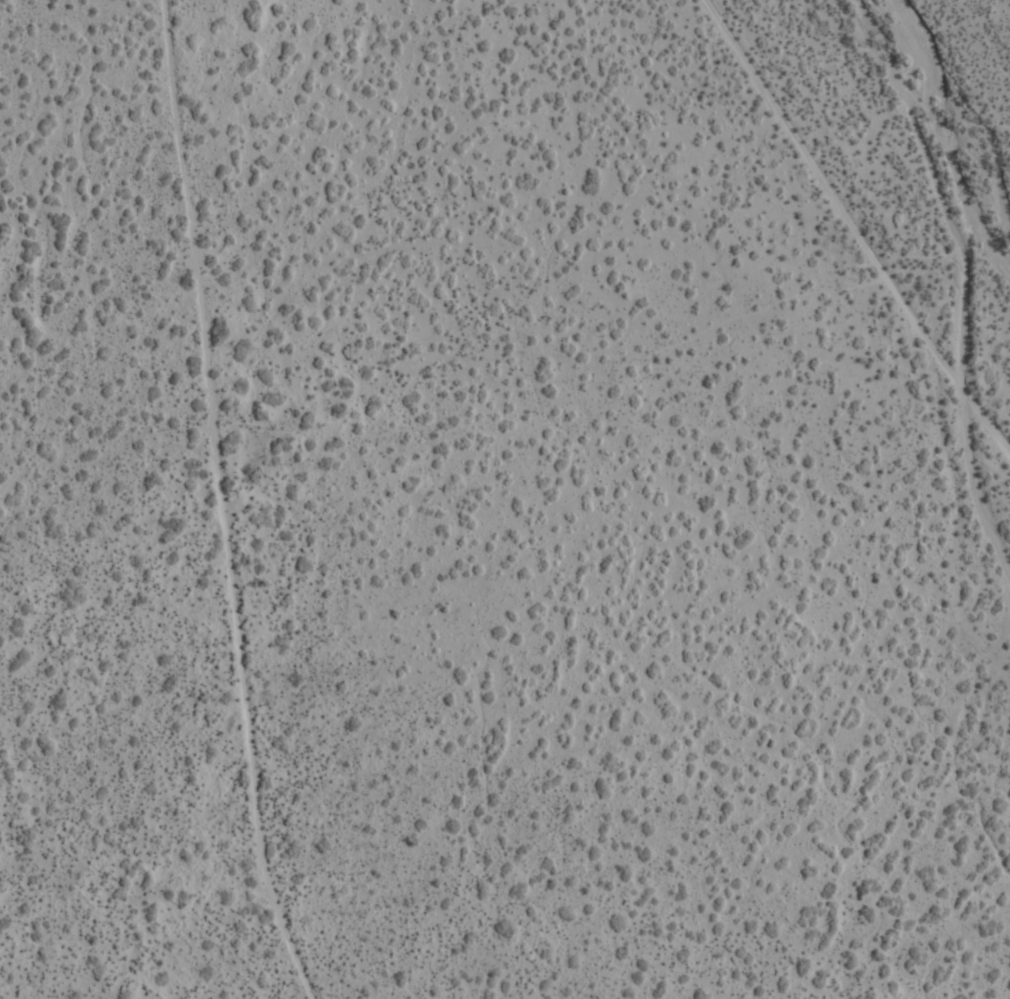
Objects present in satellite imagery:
road: (853, 228)

